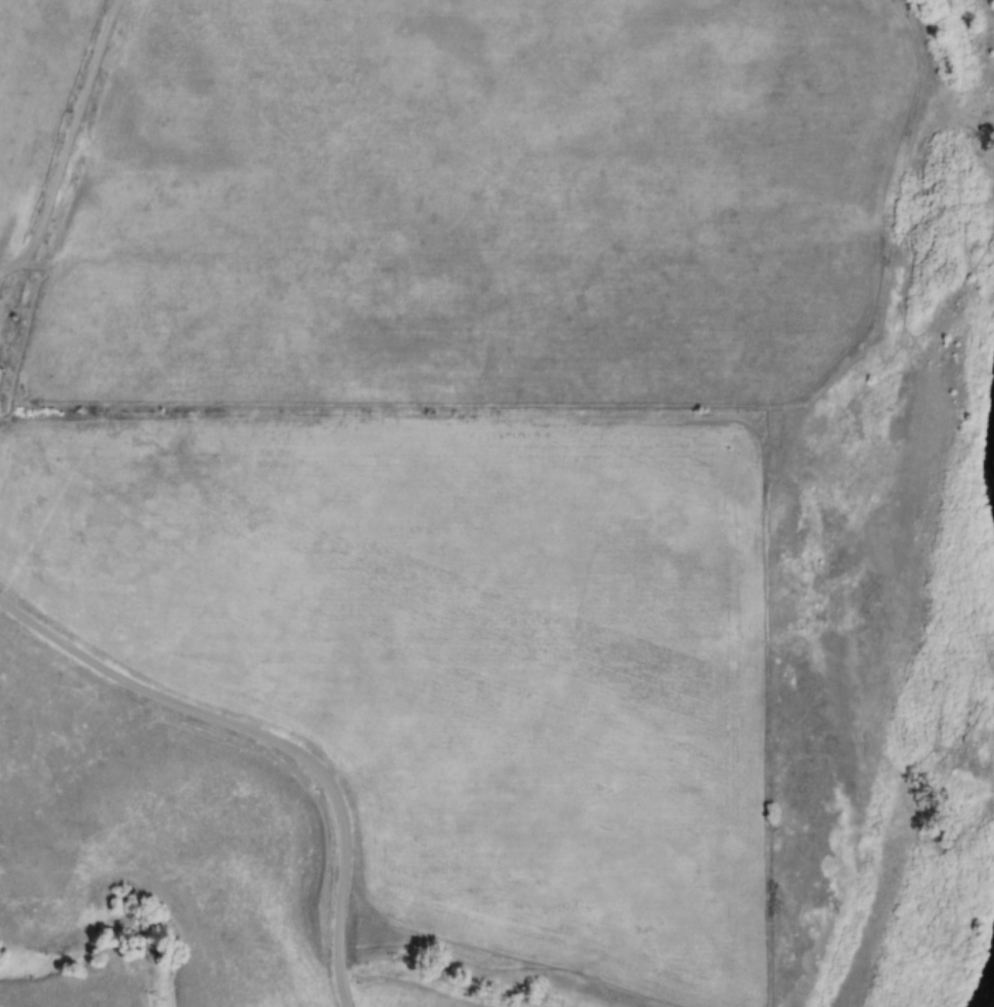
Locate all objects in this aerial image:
river: (989, 1000)

